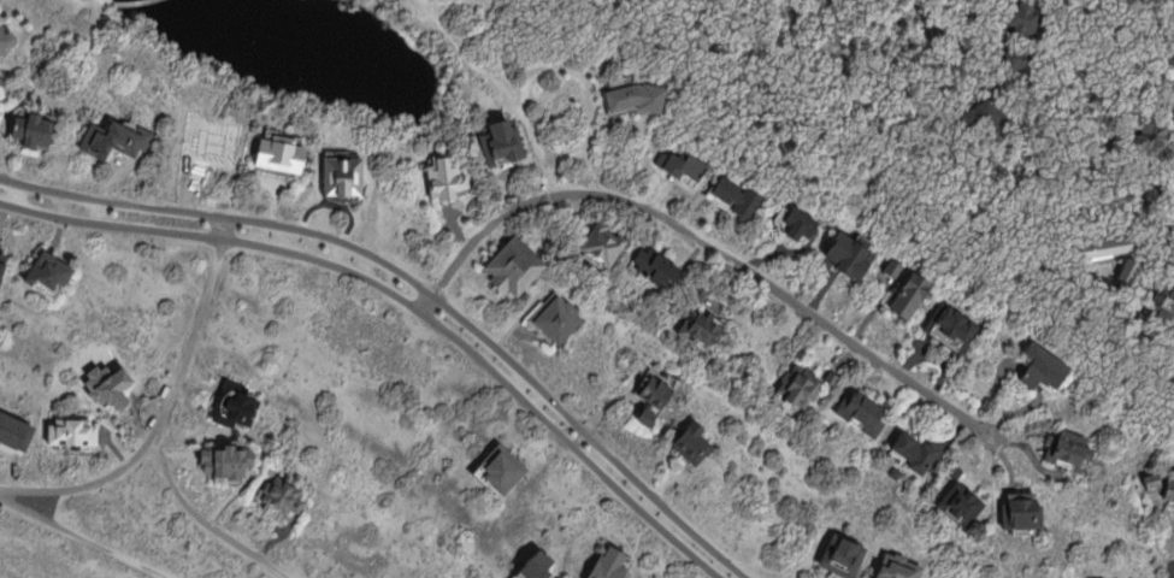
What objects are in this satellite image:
road: (124, 0)
road: (922, 18)
building: (1023, 29)
building: (6, 40)
building: (2, 94)
building: (636, 95)
building: (983, 116)
building: (34, 130)
building: (503, 138)
building: (114, 140)
building: (1148, 140)
building: (283, 152)
building: (683, 164)
building: (344, 175)
building: (446, 175)
building: (735, 196)
building: (795, 224)
road: (706, 243)
building: (603, 246)
building: (515, 266)
building: (656, 266)
building: (49, 272)
road: (420, 284)
building: (905, 284)
building: (700, 294)
road: (406, 299)
building: (1163, 300)
building: (559, 318)
building: (952, 325)
building: (702, 326)
building: (1043, 367)
building: (806, 383)
building: (656, 399)
building: (240, 405)
building: (862, 412)
road: (164, 421)
building: (14, 431)
building: (73, 433)
building: (694, 443)
building: (1068, 448)
building: (915, 452)
building: (228, 464)
building: (502, 468)
building: (896, 472)
road: (96, 483)
building: (1169, 489)
building: (277, 496)
building: (963, 503)
road: (85, 537)
building: (843, 555)
building: (608, 564)
building: (537, 566)

